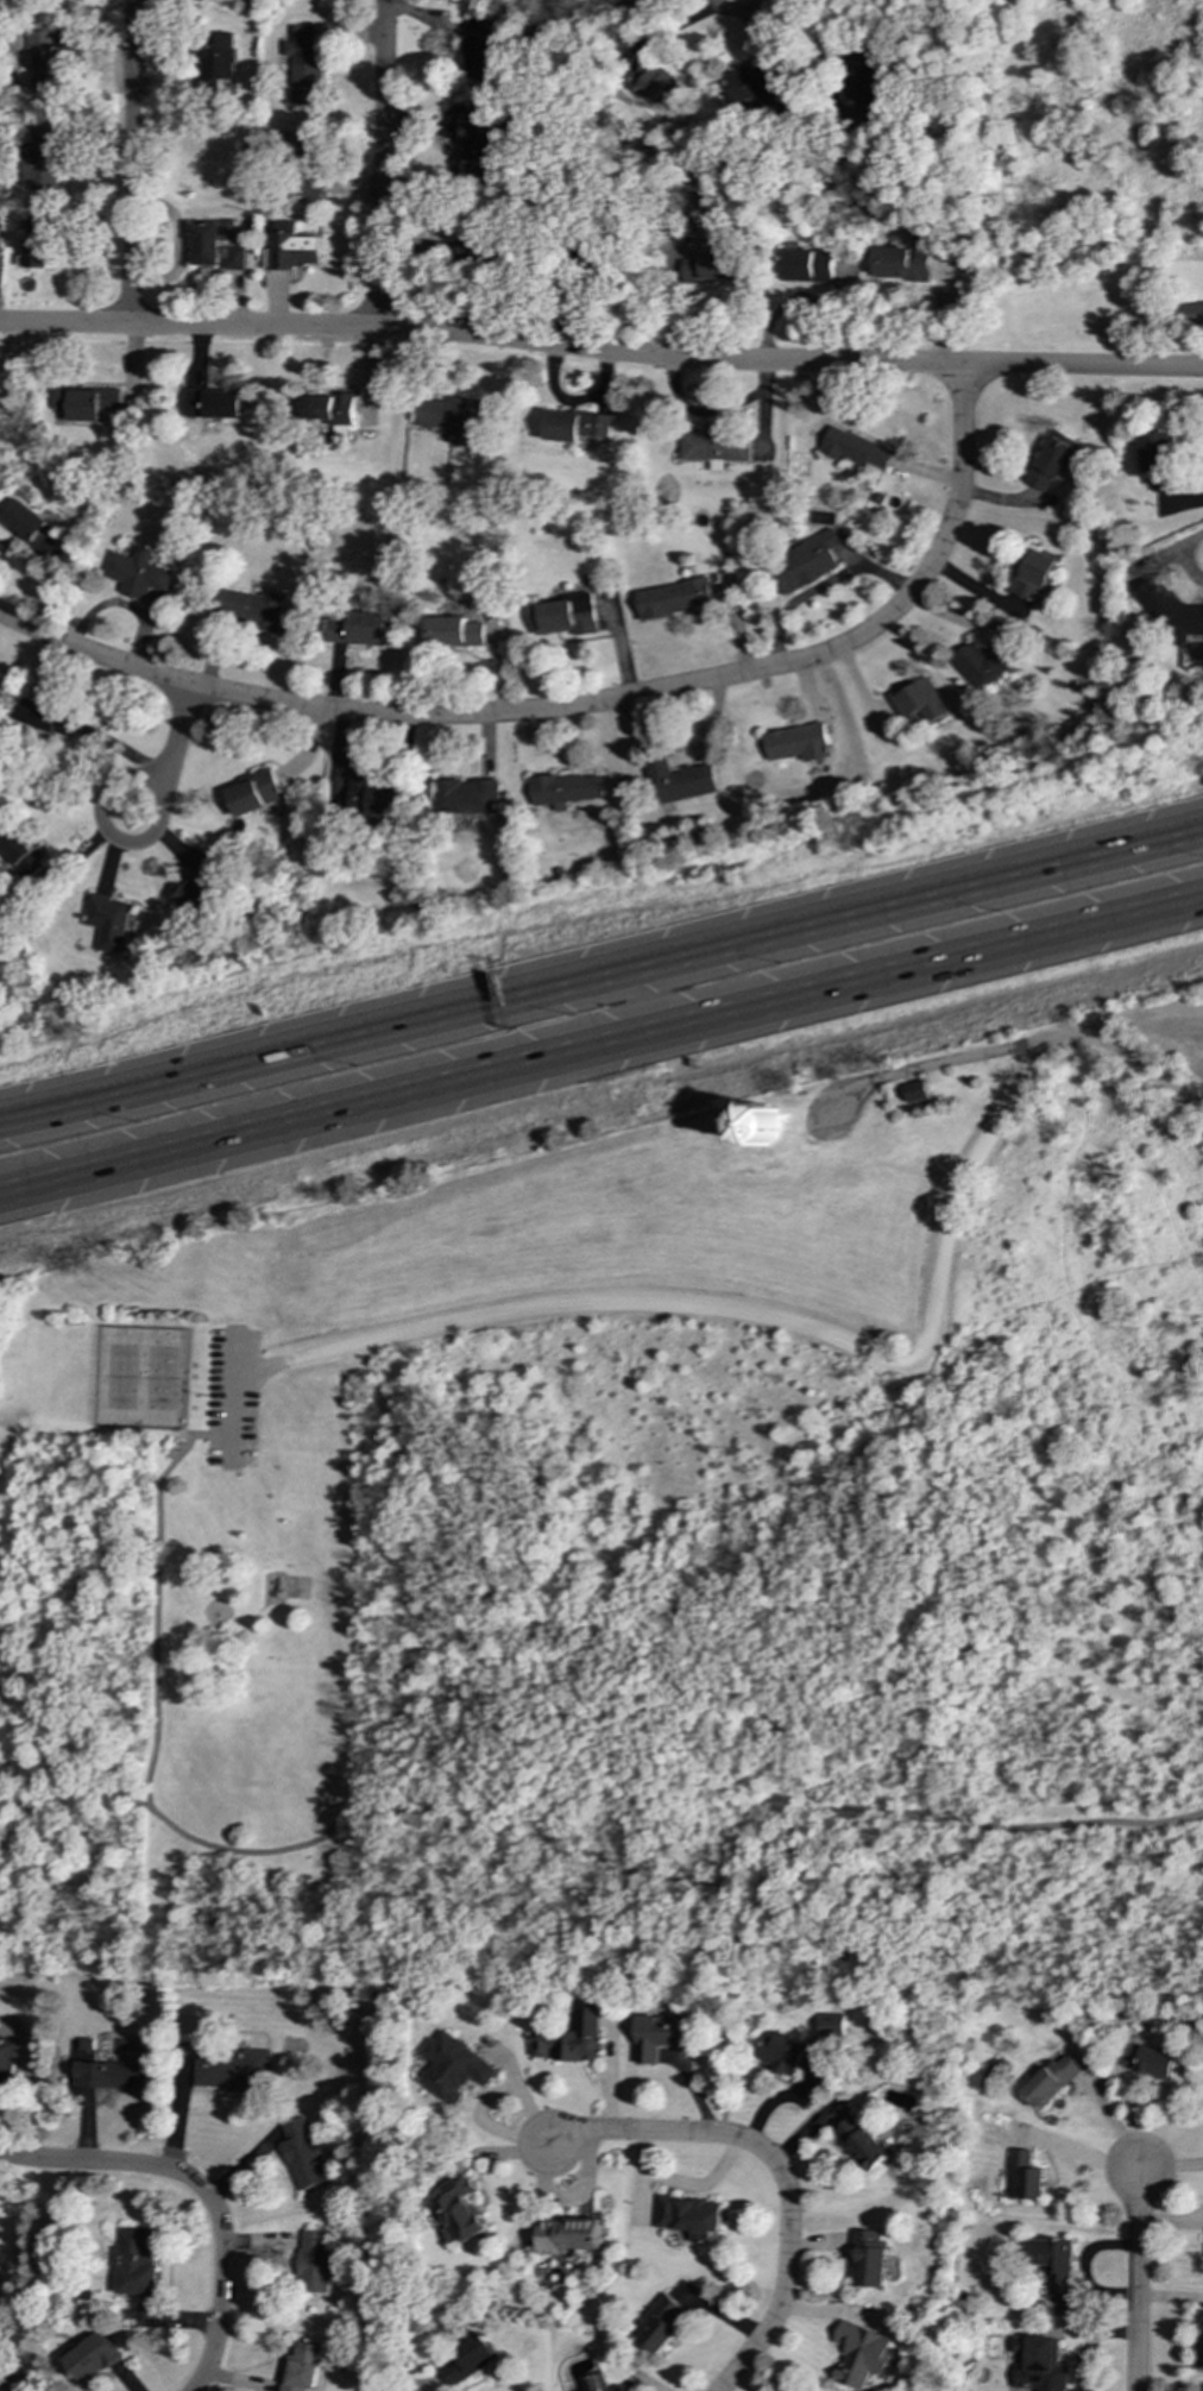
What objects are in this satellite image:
building: (623, 0)
road: (739, 13)
building: (480, 50)
building: (218, 61)
building: (45, 65)
building: (304, 67)
building: (656, 84)
building: (752, 84)
building: (474, 141)
building: (298, 145)
building: (44, 158)
road: (128, 162)
road: (380, 162)
building: (309, 185)
building: (37, 240)
building: (215, 245)
building: (468, 246)
building: (292, 248)
building: (901, 263)
building: (807, 265)
building: (711, 268)
building: (1192, 313)
road: (600, 352)
building: (88, 403)
building: (213, 403)
building: (330, 411)
building: (453, 419)
building: (577, 426)
building: (713, 446)
building: (854, 449)
building: (1157, 458)
building: (1052, 460)
road: (957, 491)
building: (32, 527)
building: (805, 564)
building: (138, 573)
building: (1033, 575)
building: (676, 599)
building: (251, 609)
building: (1171, 614)
building: (566, 616)
building: (359, 630)
building: (454, 631)
road: (93, 654)
building: (983, 662)
building: (919, 703)
road: (555, 709)
building: (50, 719)
road: (179, 724)
building: (798, 743)
building: (680, 781)
building: (566, 789)
road: (105, 793)
building: (254, 793)
building: (372, 797)
building: (465, 798)
building: (26, 854)
building: (201, 889)
building: (109, 923)
road: (601, 975)
road: (651, 998)
road: (601, 1044)
road: (939, 1061)
building: (915, 1091)
water tower: (762, 1121)
building: (762, 1125)
road: (839, 1340)
park: (141, 1379)
road: (234, 1399)
parking lot: (232, 1401)
road: (1089, 1490)
park: (642, 1552)
road: (159, 1597)
road: (588, 1856)
road: (728, 2008)
building: (831, 2028)
building: (657, 2037)
building: (571, 2039)
building: (6, 2053)
building: (791, 2055)
building: (1146, 2060)
building: (454, 2068)
building: (233, 2070)
building: (109, 2075)
building: (1048, 2081)
road: (635, 2133)
building: (862, 2143)
building: (302, 2153)
road: (92, 2163)
building: (1022, 2177)
building: (461, 2210)
building: (691, 2216)
building: (575, 2239)
road: (788, 2255)
building: (870, 2259)
building: (314, 2261)
building: (1052, 2261)
building: (136, 2263)
road: (1135, 2276)
road: (220, 2278)
building: (660, 2324)
building: (1201, 2347)
building: (865, 2355)
building: (93, 2358)
building: (466, 2360)
building: (302, 2367)
building: (597, 2383)

